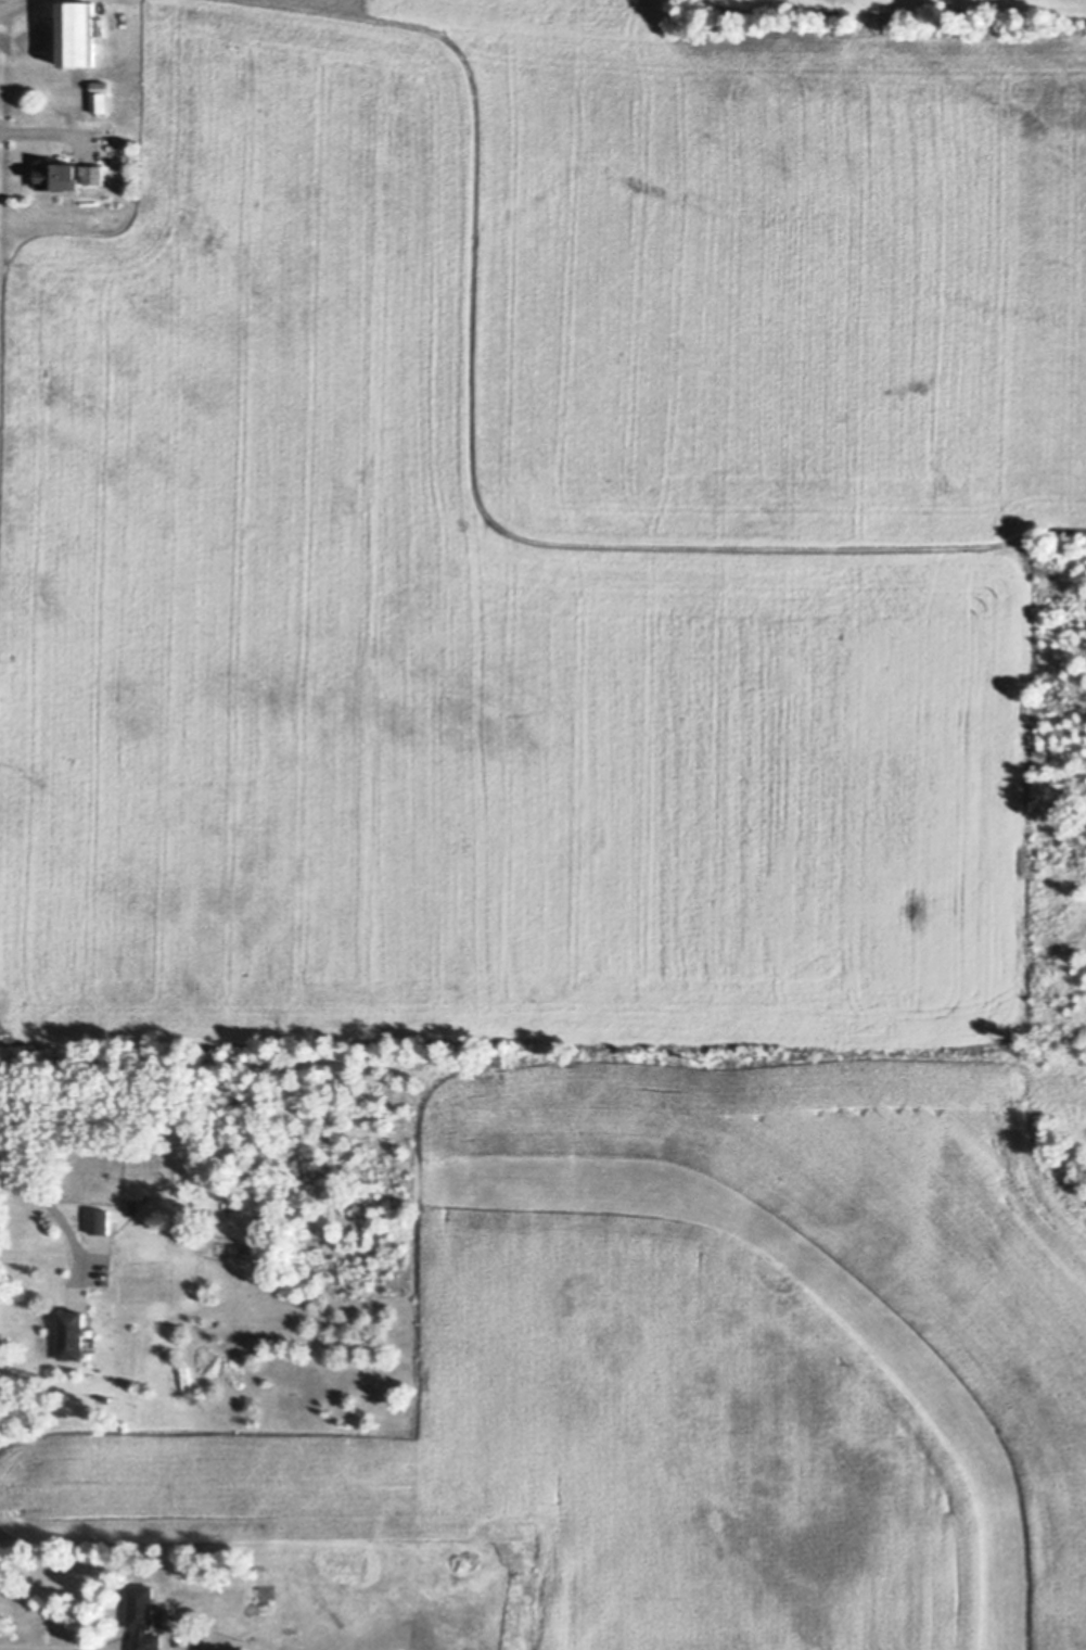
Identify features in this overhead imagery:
building: (76, 34)
building: (99, 96)
building: (67, 175)
crop: (544, 521)
building: (132, 1205)
building: (98, 1221)
road: (61, 1222)
building: (72, 1337)
crop: (699, 1369)
building: (143, 1619)
road: (0, 1649)

